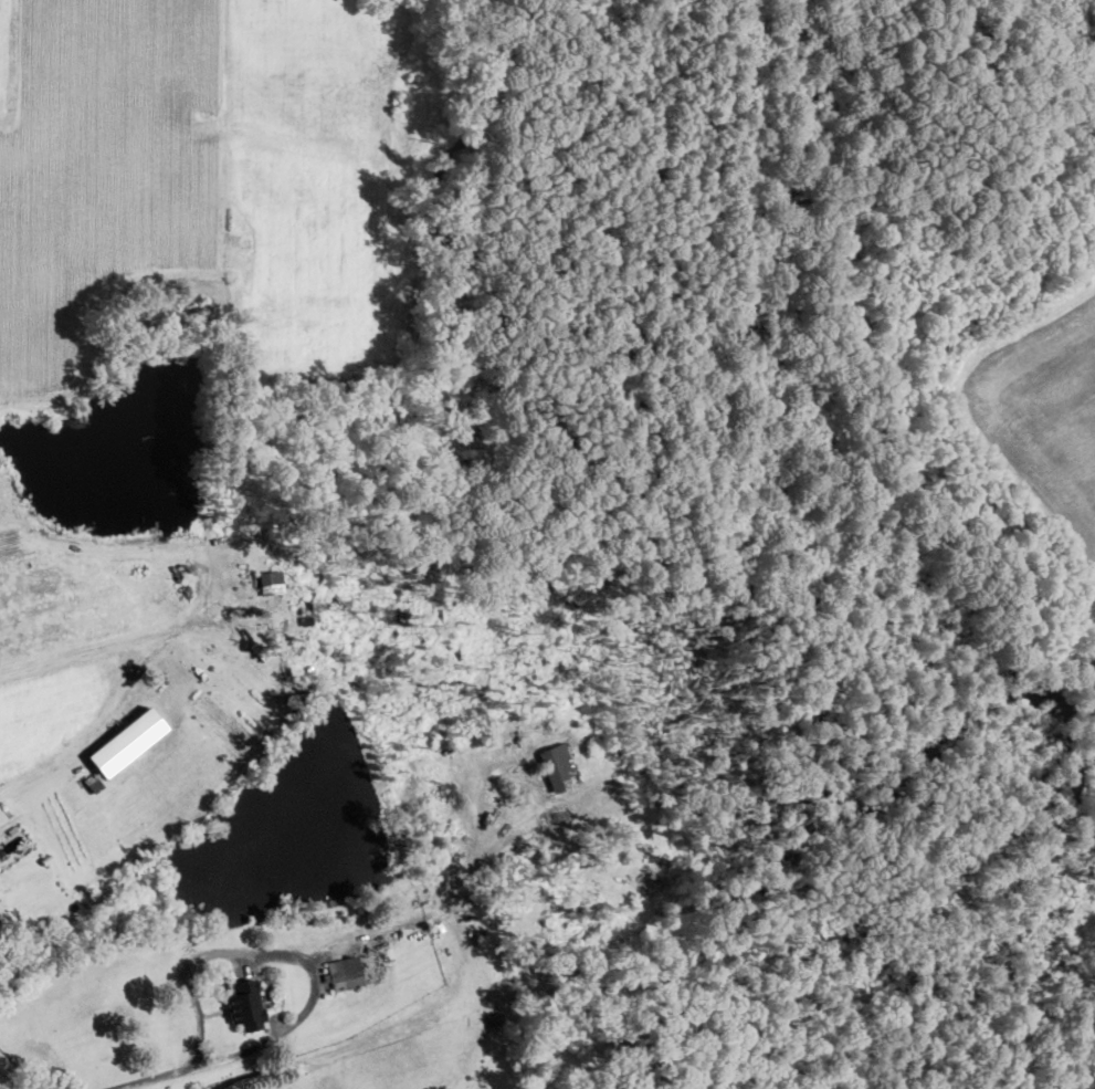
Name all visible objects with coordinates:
road: (131, 640)
building: (114, 751)
building: (555, 765)
road: (1, 792)
road: (284, 952)
building: (344, 971)
building: (241, 1004)
road: (165, 1077)
road: (9, 1080)

